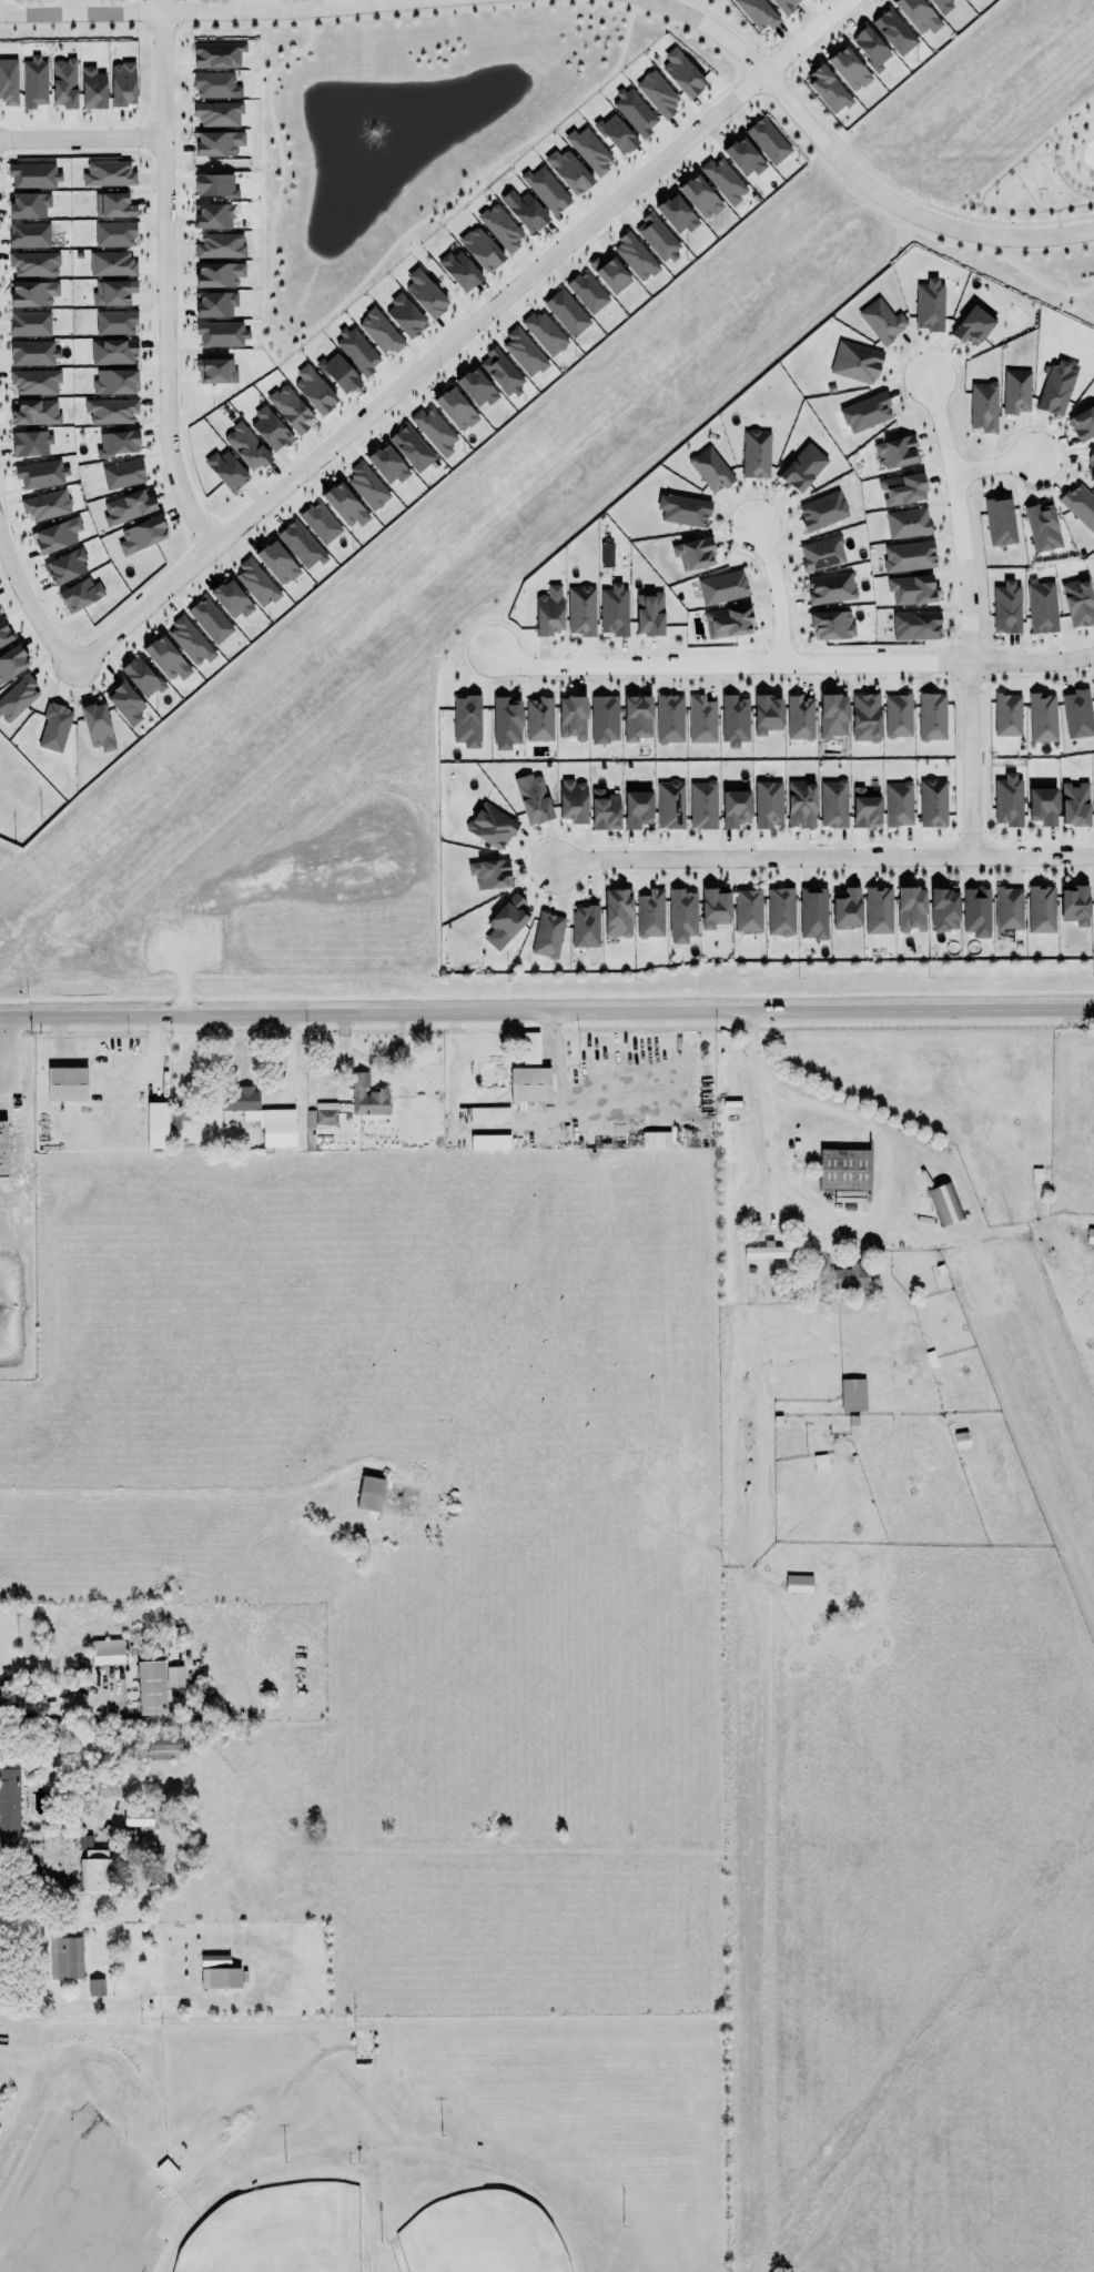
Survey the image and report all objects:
building: (966, 0)
building: (784, 4)
building: (942, 6)
building: (756, 11)
road: (170, 12)
building: (916, 14)
building: (894, 31)
building: (871, 46)
building: (217, 54)
building: (849, 69)
building: (682, 73)
building: (63, 81)
building: (9, 82)
building: (34, 83)
building: (214, 83)
building: (123, 84)
building: (92, 87)
building: (829, 87)
building: (657, 93)
building: (634, 112)
building: (216, 113)
building: (615, 131)
road: (82, 139)
building: (767, 139)
building: (215, 140)
building: (589, 150)
building: (743, 156)
road: (849, 169)
building: (568, 171)
building: (107, 172)
building: (33, 175)
building: (723, 180)
building: (214, 185)
building: (545, 188)
building: (700, 196)
building: (28, 202)
building: (113, 205)
building: (526, 209)
building: (212, 211)
building: (676, 214)
building: (502, 226)
building: (28, 234)
building: (114, 234)
building: (657, 236)
building: (220, 246)
building: (480, 249)
building: (634, 255)
building: (110, 261)
building: (32, 263)
building: (459, 269)
building: (609, 271)
building: (217, 272)
road: (164, 279)
building: (31, 290)
building: (587, 292)
building: (113, 293)
building: (426, 295)
building: (215, 304)
building: (928, 304)
building: (567, 313)
building: (405, 316)
building: (880, 320)
building: (114, 321)
building: (30, 324)
building: (971, 325)
building: (379, 332)
building: (545, 333)
building: (221, 334)
building: (357, 351)
building: (31, 352)
building: (113, 352)
building: (524, 353)
building: (855, 363)
building: (500, 370)
building: (216, 371)
building: (338, 373)
road: (406, 380)
building: (36, 382)
building: (114, 382)
building: (475, 385)
building: (1055, 390)
building: (314, 391)
building: (1016, 392)
building: (983, 406)
building: (291, 410)
building: (455, 410)
building: (111, 411)
building: (863, 411)
building: (36, 413)
building: (1083, 423)
building: (270, 430)
building: (434, 431)
building: (117, 441)
building: (31, 444)
building: (246, 447)
building: (412, 447)
building: (754, 452)
building: (897, 452)
building: (1090, 463)
building: (387, 465)
road: (993, 465)
building: (800, 466)
building: (226, 467)
building: (710, 469)
building: (41, 474)
building: (123, 474)
building: (366, 483)
building: (901, 487)
building: (1078, 504)
building: (45, 505)
building: (344, 505)
building: (126, 506)
building: (681, 508)
building: (821, 509)
building: (999, 519)
building: (320, 521)
building: (906, 522)
building: (1041, 525)
building: (57, 533)
building: (141, 533)
building: (301, 544)
building: (691, 552)
building: (820, 552)
building: (607, 555)
building: (906, 555)
building: (277, 561)
building: (65, 567)
building: (1093, 576)
building: (254, 583)
building: (719, 585)
building: (911, 586)
building: (830, 587)
road: (776, 592)
building: (80, 595)
building: (231, 597)
building: (1078, 603)
building: (1041, 606)
building: (548, 607)
building: (1006, 607)
building: (580, 609)
building: (614, 609)
building: (649, 615)
road: (968, 615)
building: (210, 620)
building: (729, 622)
building: (830, 623)
building: (914, 624)
building: (4, 633)
building: (190, 643)
building: (165, 657)
building: (11, 663)
road: (791, 664)
building: (141, 677)
building: (1093, 687)
building: (17, 699)
building: (125, 704)
building: (571, 714)
building: (767, 714)
building: (897, 714)
building: (1005, 714)
building: (1075, 714)
building: (798, 716)
building: (832, 716)
building: (931, 716)
building: (668, 717)
building: (863, 717)
building: (538, 718)
building: (637, 718)
building: (1042, 718)
building: (465, 719)
building: (605, 719)
building: (702, 719)
building: (732, 719)
building: (505, 720)
building: (98, 727)
building: (54, 728)
building: (1093, 798)
building: (1006, 799)
building: (533, 800)
building: (570, 800)
building: (897, 801)
building: (930, 801)
building: (701, 802)
building: (831, 802)
building: (669, 804)
building: (768, 804)
building: (801, 805)
building: (1041, 805)
building: (1075, 805)
building: (635, 808)
building: (732, 808)
building: (602, 809)
building: (865, 809)
building: (489, 825)
road: (823, 857)
building: (490, 874)
building: (1074, 906)
building: (712, 907)
building: (909, 908)
building: (941, 908)
building: (1039, 908)
building: (746, 909)
building: (844, 909)
building: (1009, 909)
building: (1093, 909)
building: (779, 910)
building: (616, 911)
building: (811, 911)
building: (878, 911)
building: (974, 911)
building: (649, 912)
building: (682, 916)
building: (504, 921)
building: (584, 926)
building: (547, 933)
road: (547, 1013)
road: (1, 1030)
building: (530, 1048)
building: (67, 1084)
building: (530, 1084)
building: (365, 1097)
building: (179, 1114)
building: (489, 1114)
building: (322, 1115)
building: (158, 1125)
building: (276, 1127)
building: (656, 1140)
building: (489, 1142)
building: (3, 1149)
building: (844, 1170)
building: (851, 1196)
building: (945, 1204)
road: (832, 1223)
building: (1090, 1236)
building: (769, 1252)
building: (849, 1276)
building: (852, 1395)
building: (961, 1440)
road: (203, 1494)
building: (369, 1494)
building: (799, 1583)
building: (108, 1652)
building: (148, 1679)
road: (49, 1708)
building: (163, 1748)
building: (9, 1800)
building: (138, 1818)
building: (95, 1871)
road: (34, 1874)
building: (64, 1957)
building: (220, 1978)
road: (110, 2002)
park: (366, 2144)
road: (40, 2168)
road: (125, 2177)
road: (55, 2208)
parking lot: (90, 2215)
road: (93, 2223)
park: (278, 2232)
park: (480, 2236)
road: (135, 2238)

